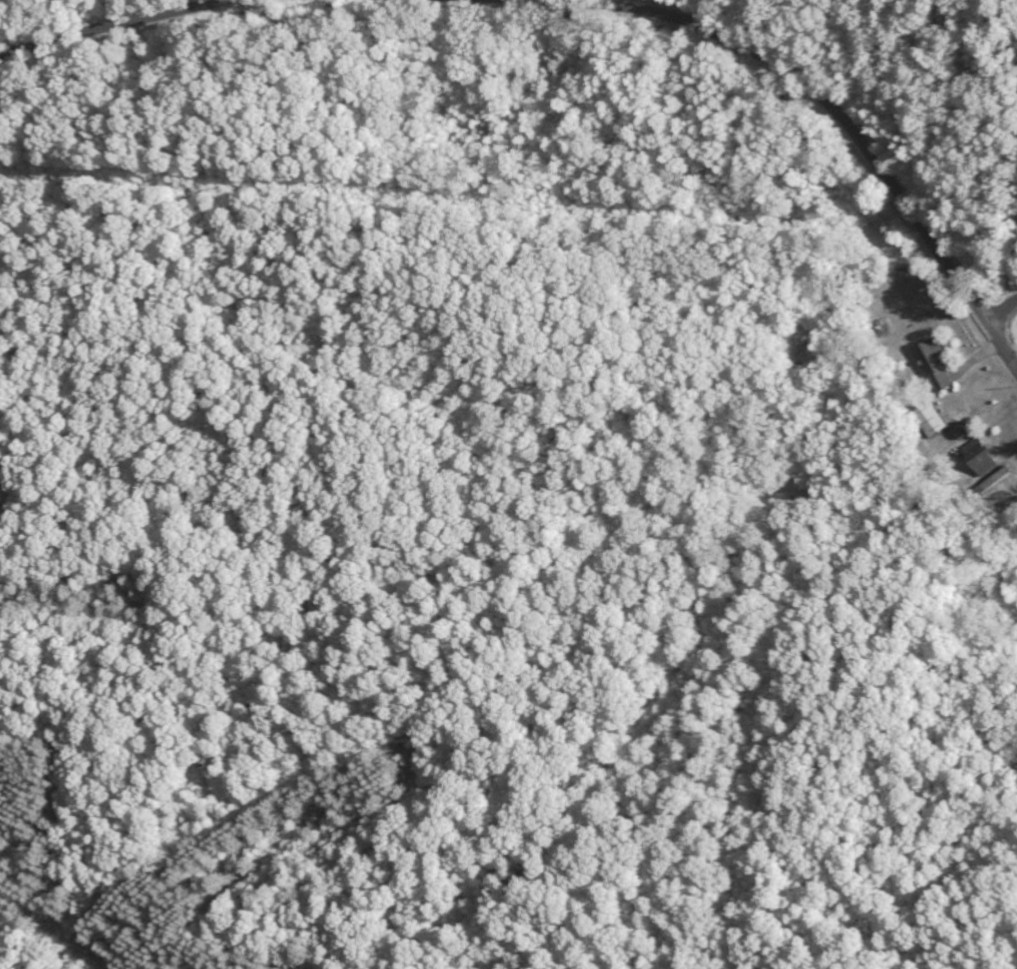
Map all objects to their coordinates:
road: (115, 24)
road: (1003, 39)
road: (827, 104)
road: (1000, 310)
building: (936, 366)

